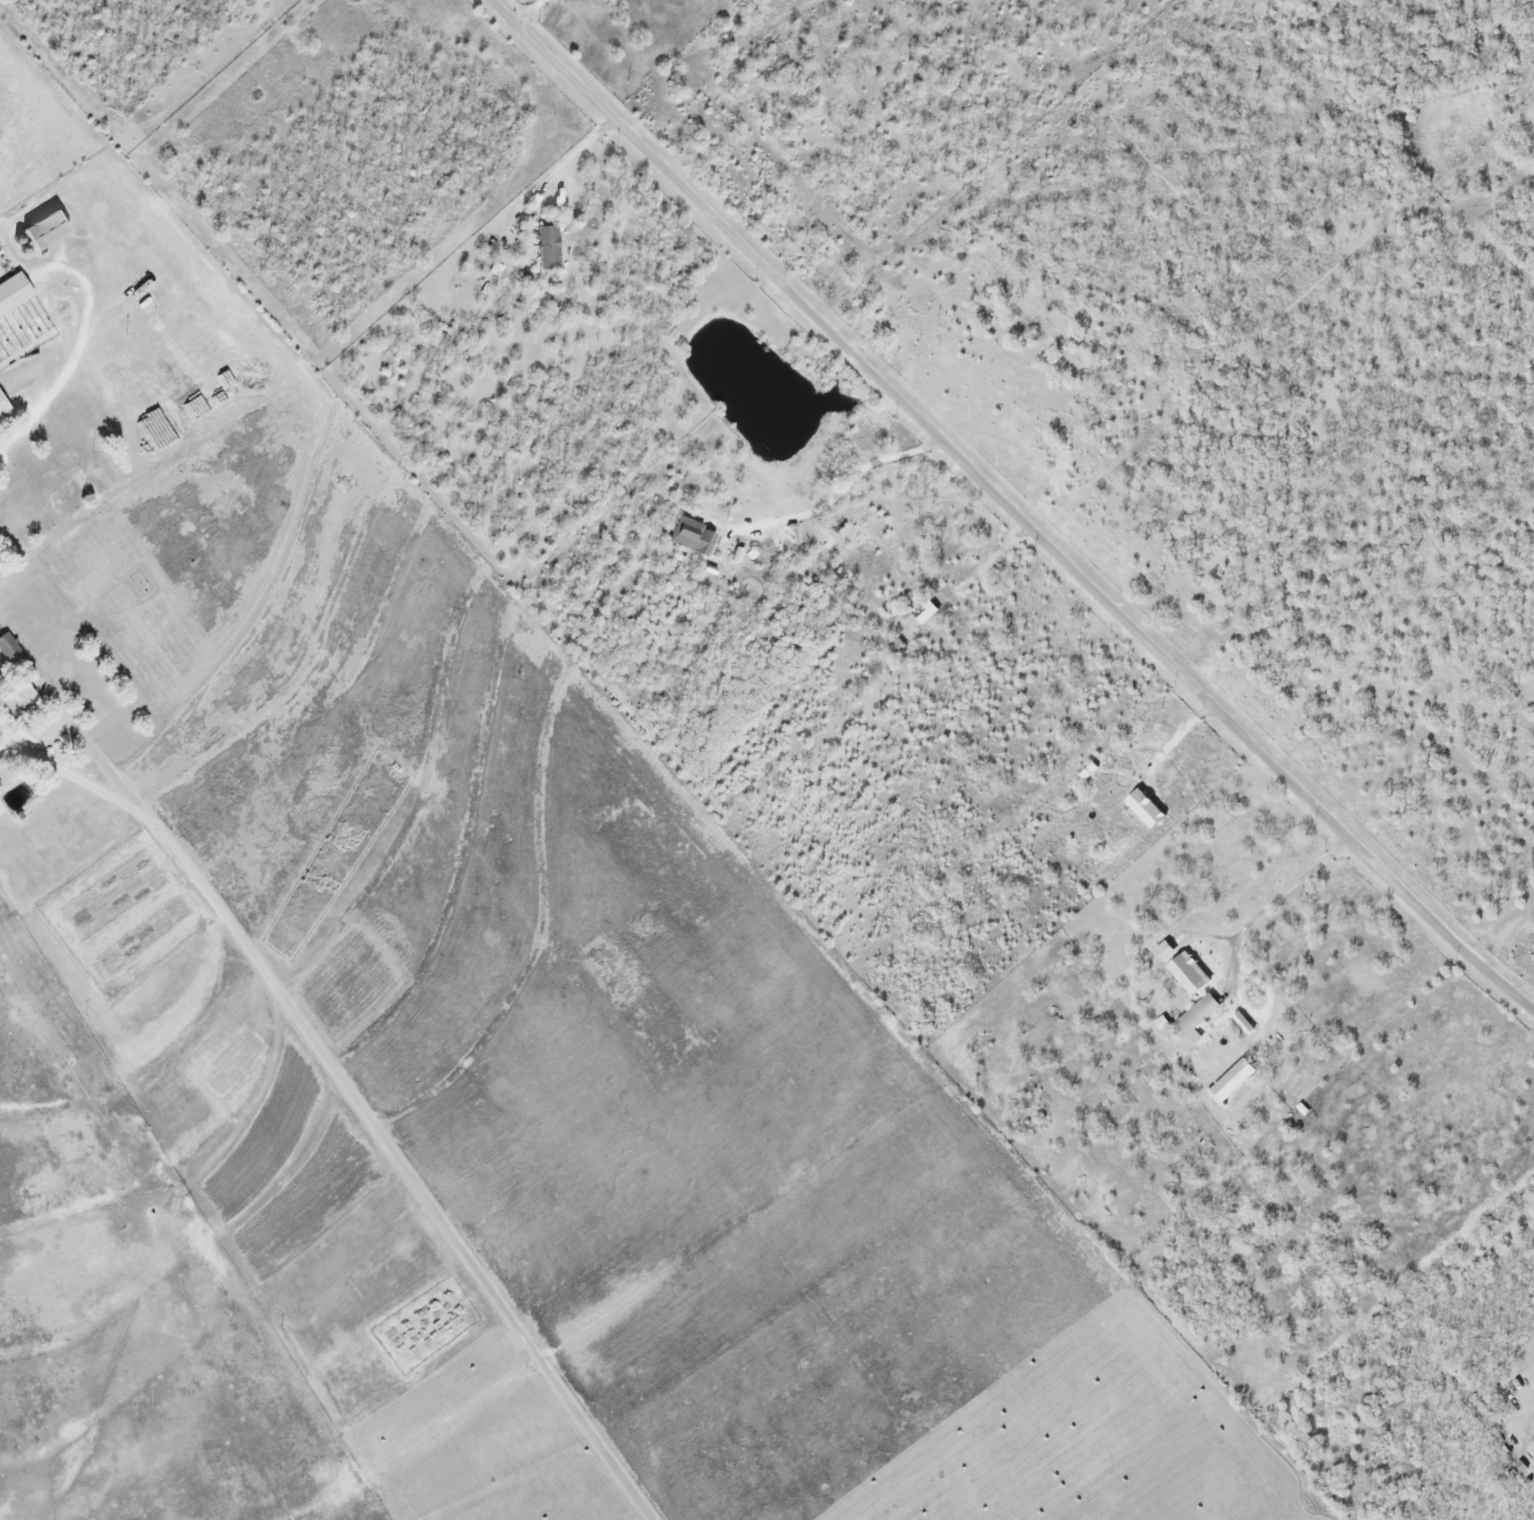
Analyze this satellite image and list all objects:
building: (49, 230)
building: (550, 247)
building: (15, 294)
building: (5, 408)
road: (1007, 510)
building: (691, 534)
building: (741, 578)
building: (925, 613)
building: (9, 646)
building: (17, 698)
road: (351, 1097)

